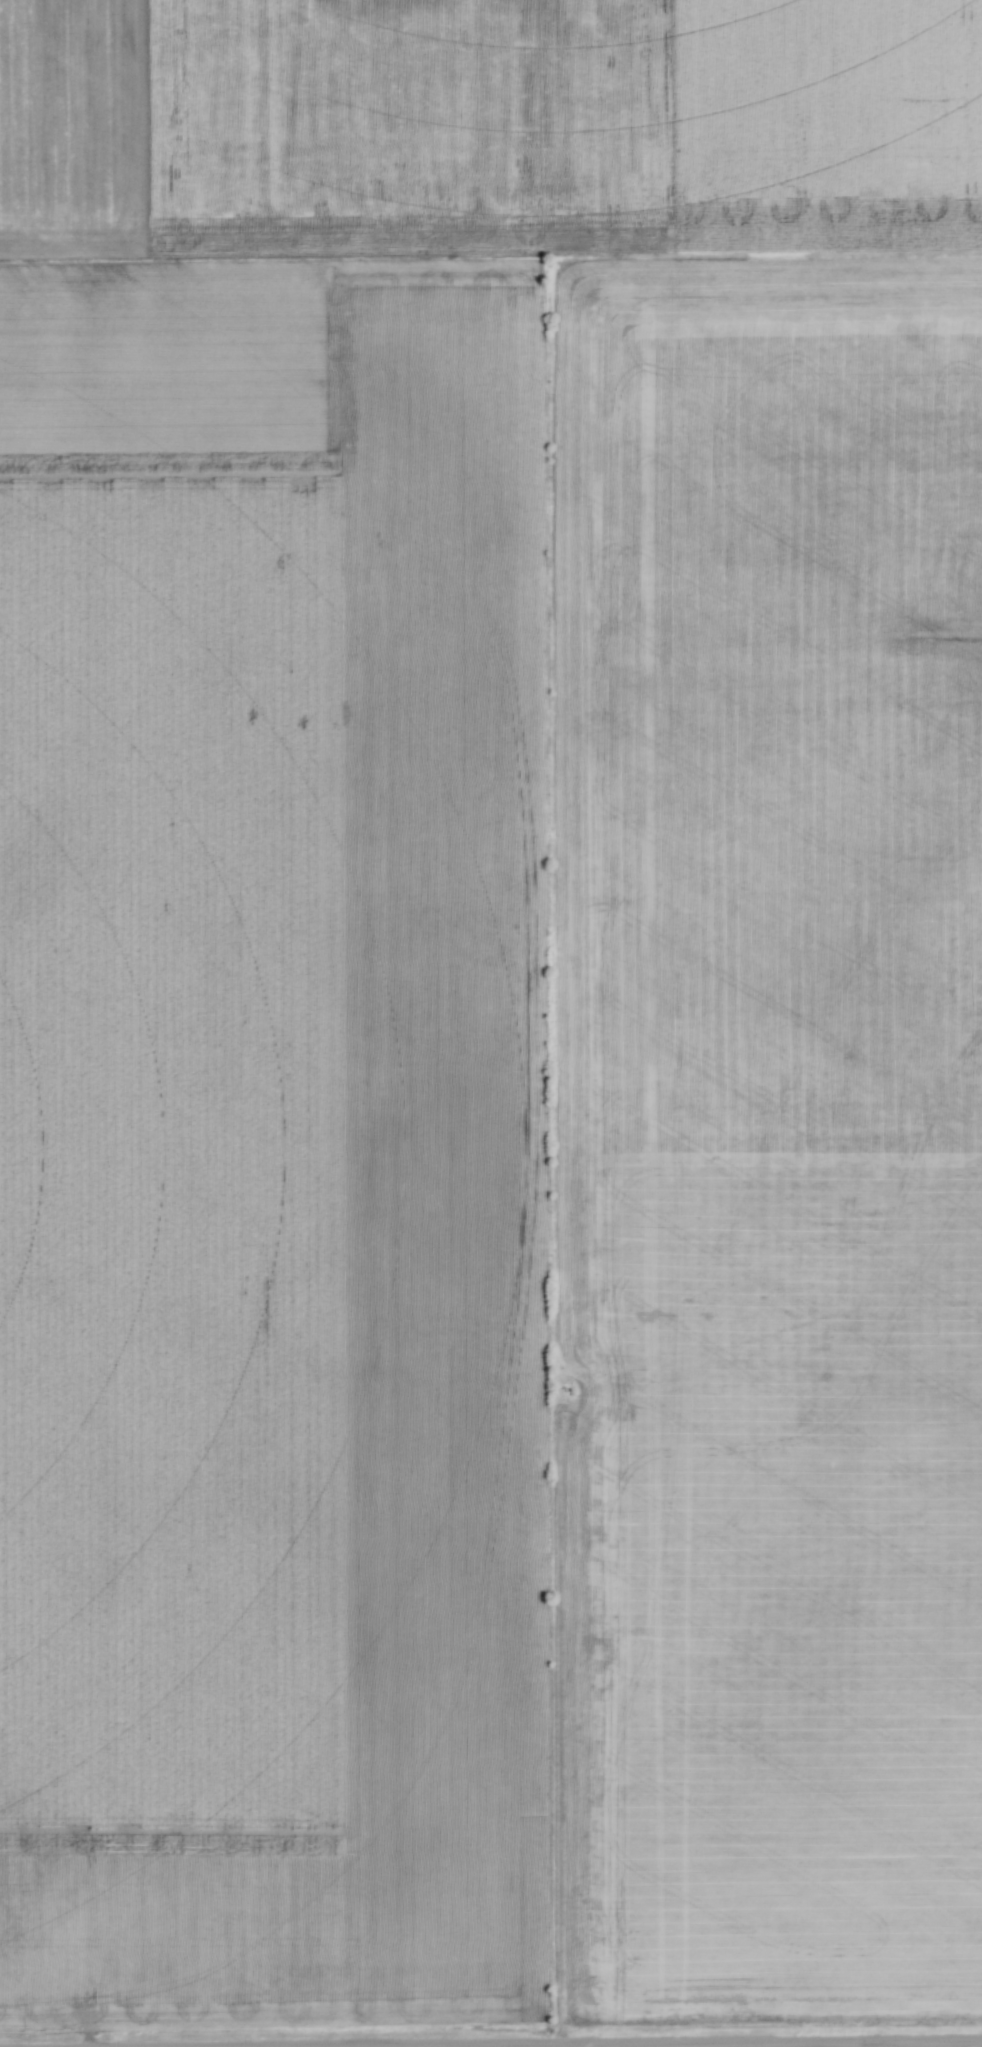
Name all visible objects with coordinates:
road: (932, 2046)

